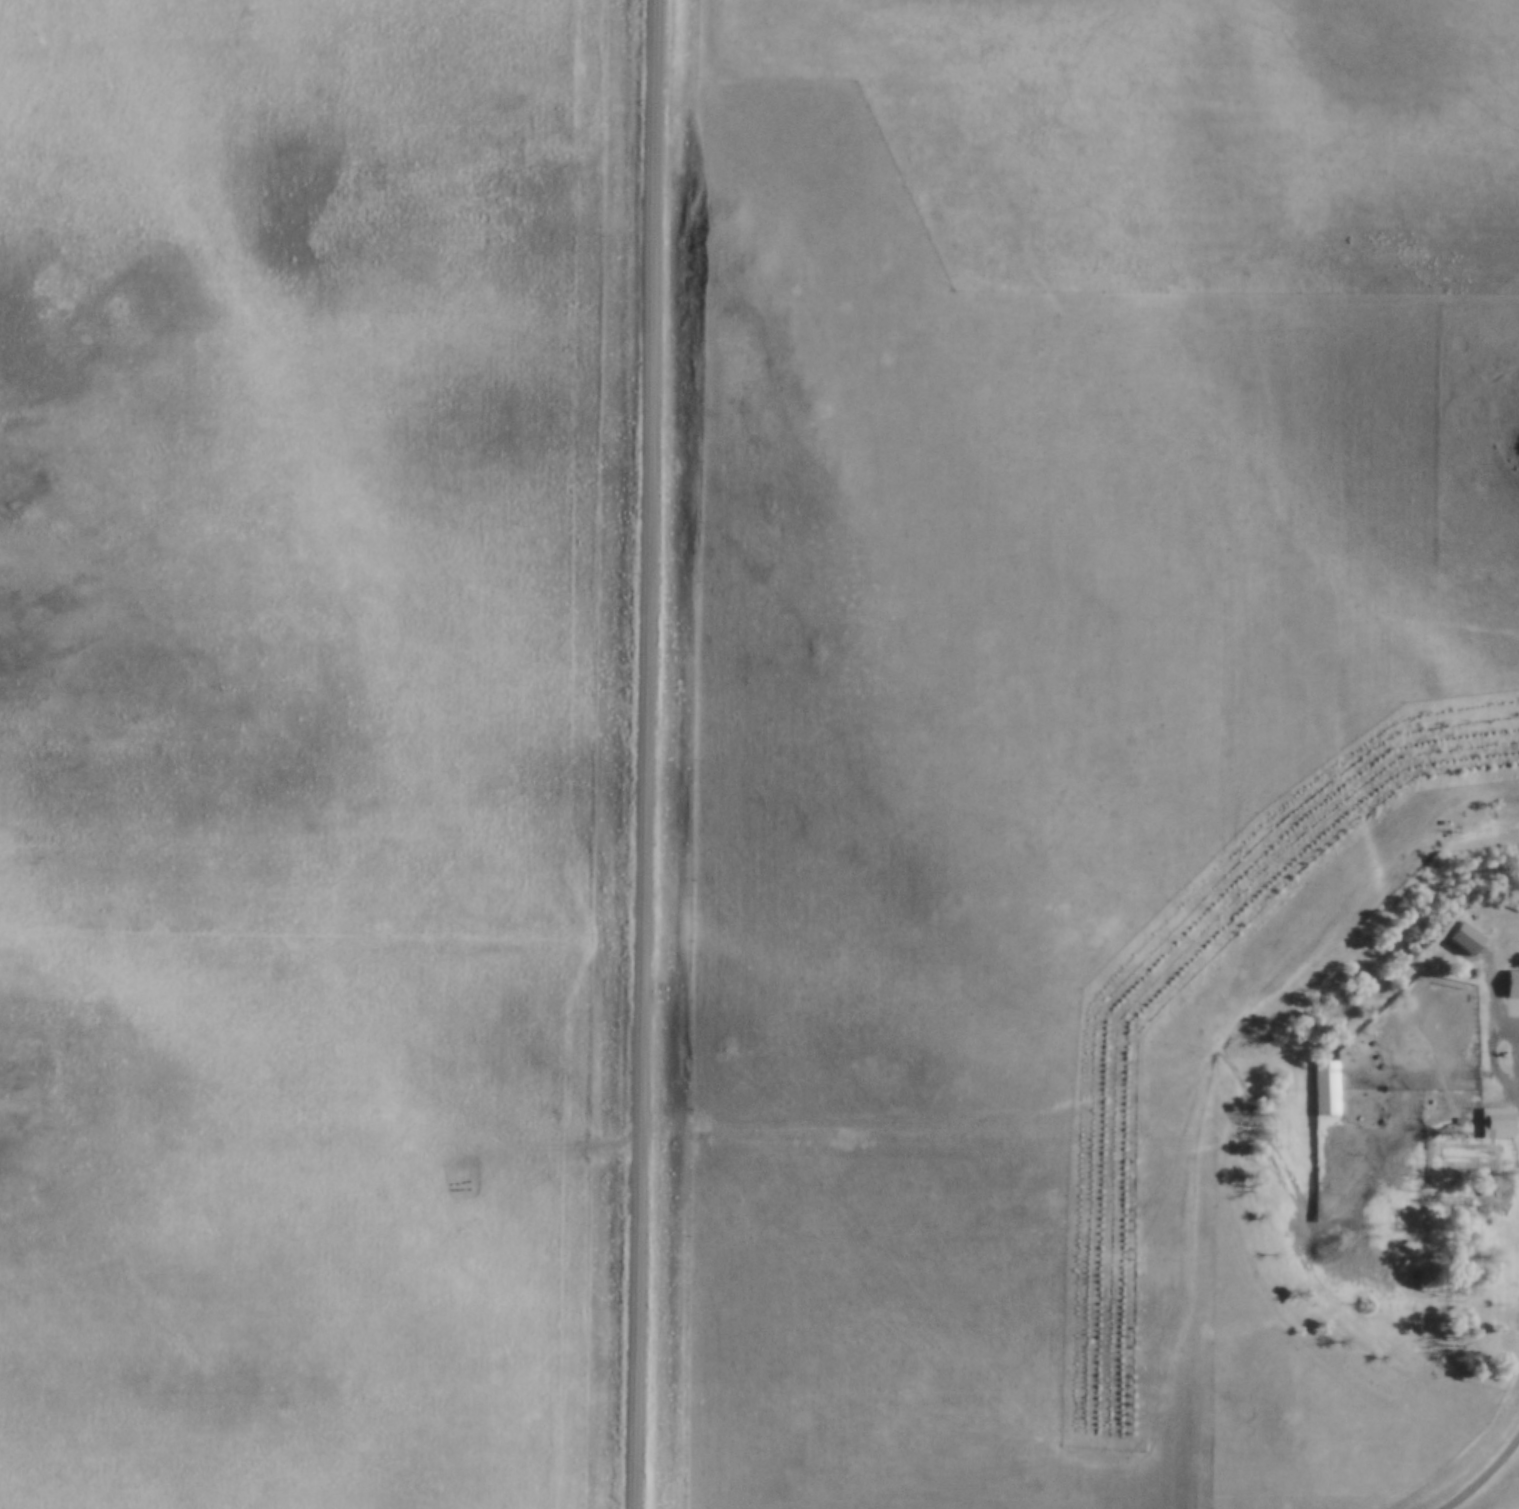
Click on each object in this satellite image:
road: (647, 754)
building: (1511, 982)
building: (1325, 1085)
building: (1491, 1126)
road: (1485, 1476)

